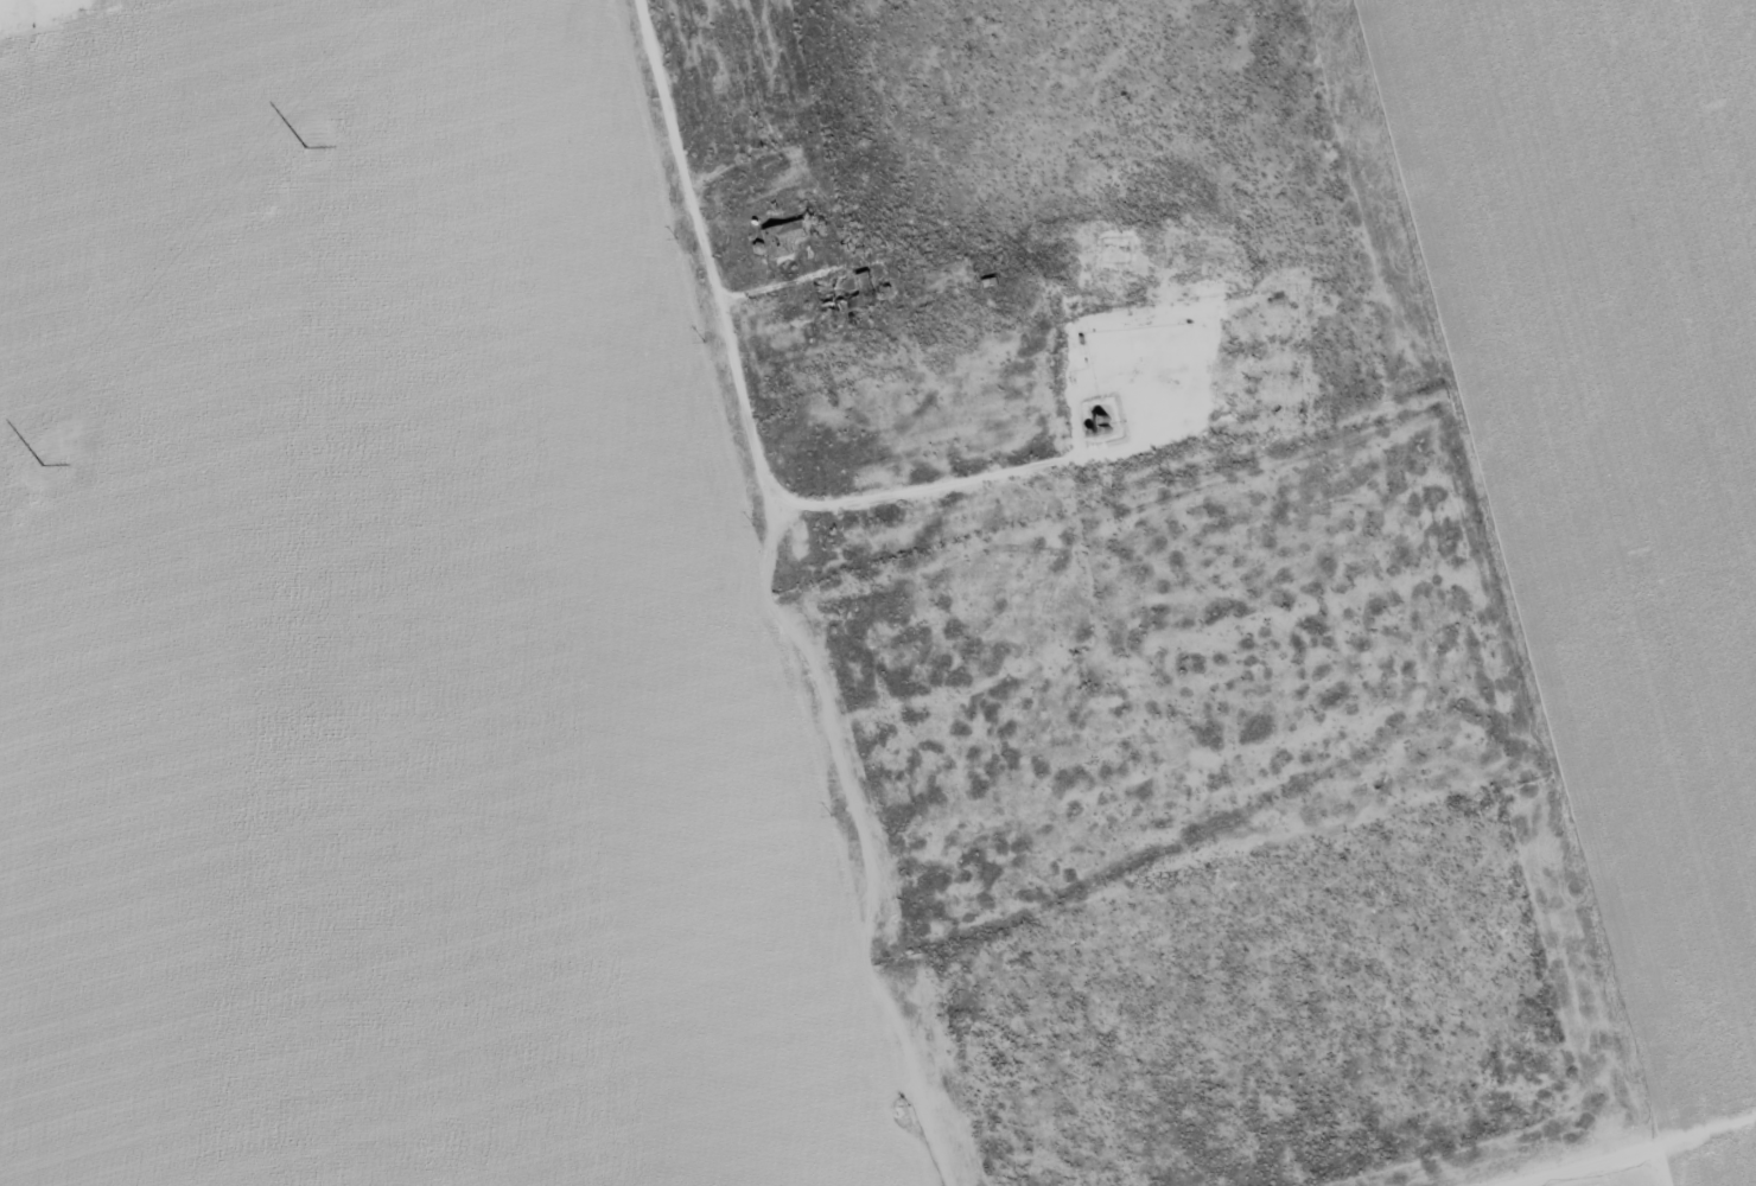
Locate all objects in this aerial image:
power tower: (312, 139)
building: (783, 236)
road: (775, 455)
power tower: (49, 457)

